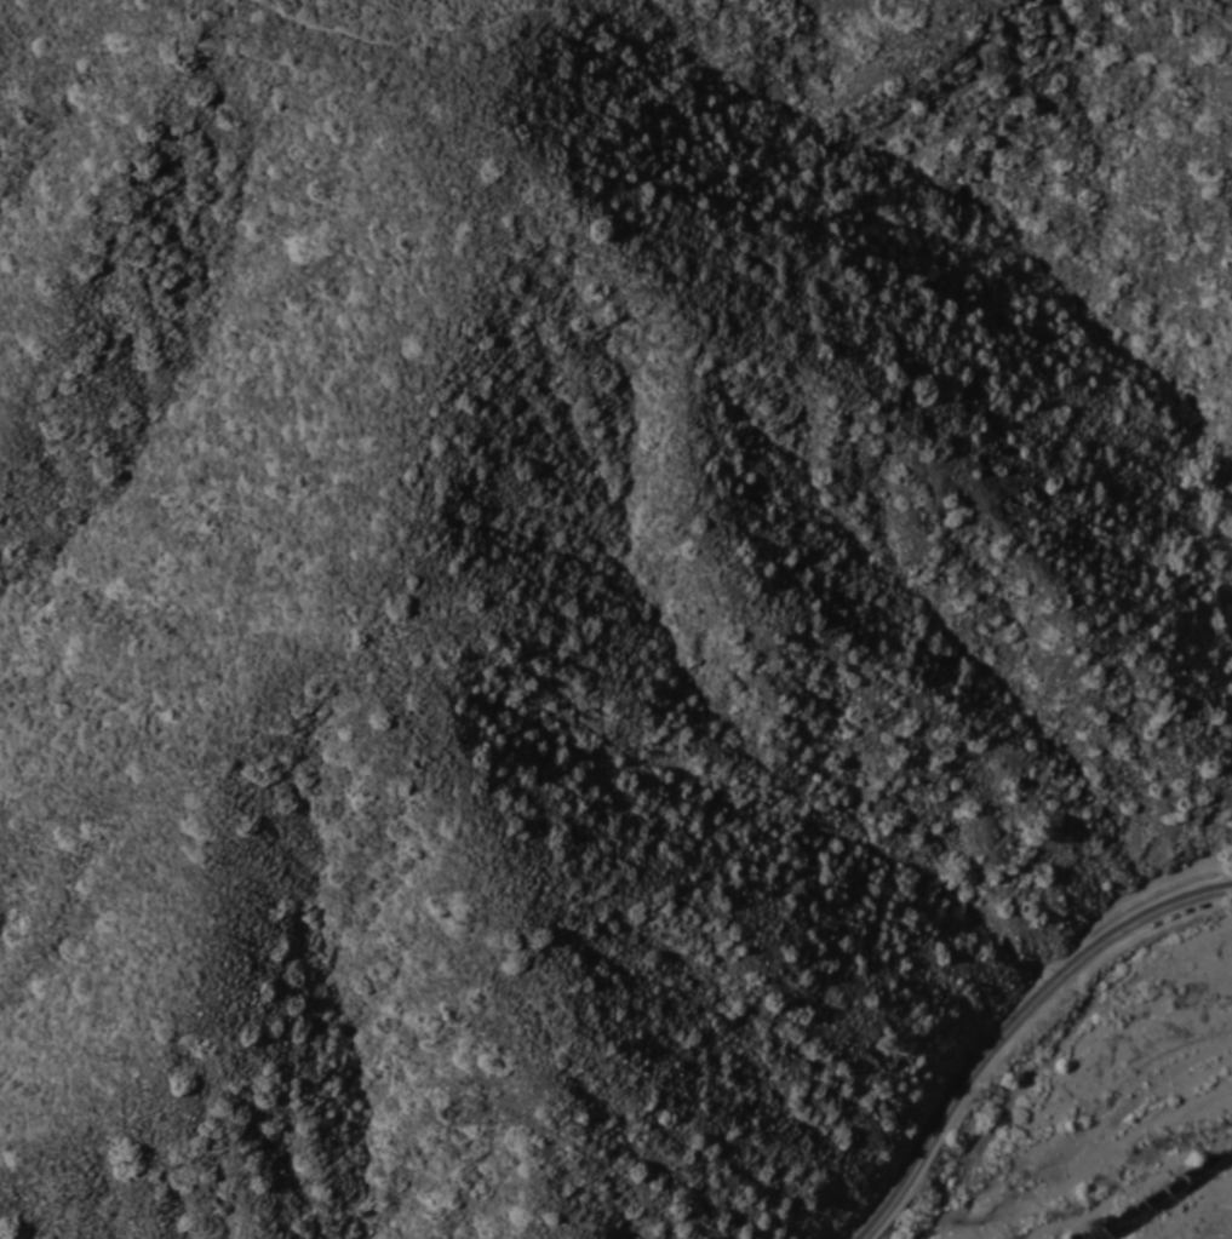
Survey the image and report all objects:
road: (1203, 8)
road: (409, 34)
road: (1036, 1037)
river: (1107, 1163)

